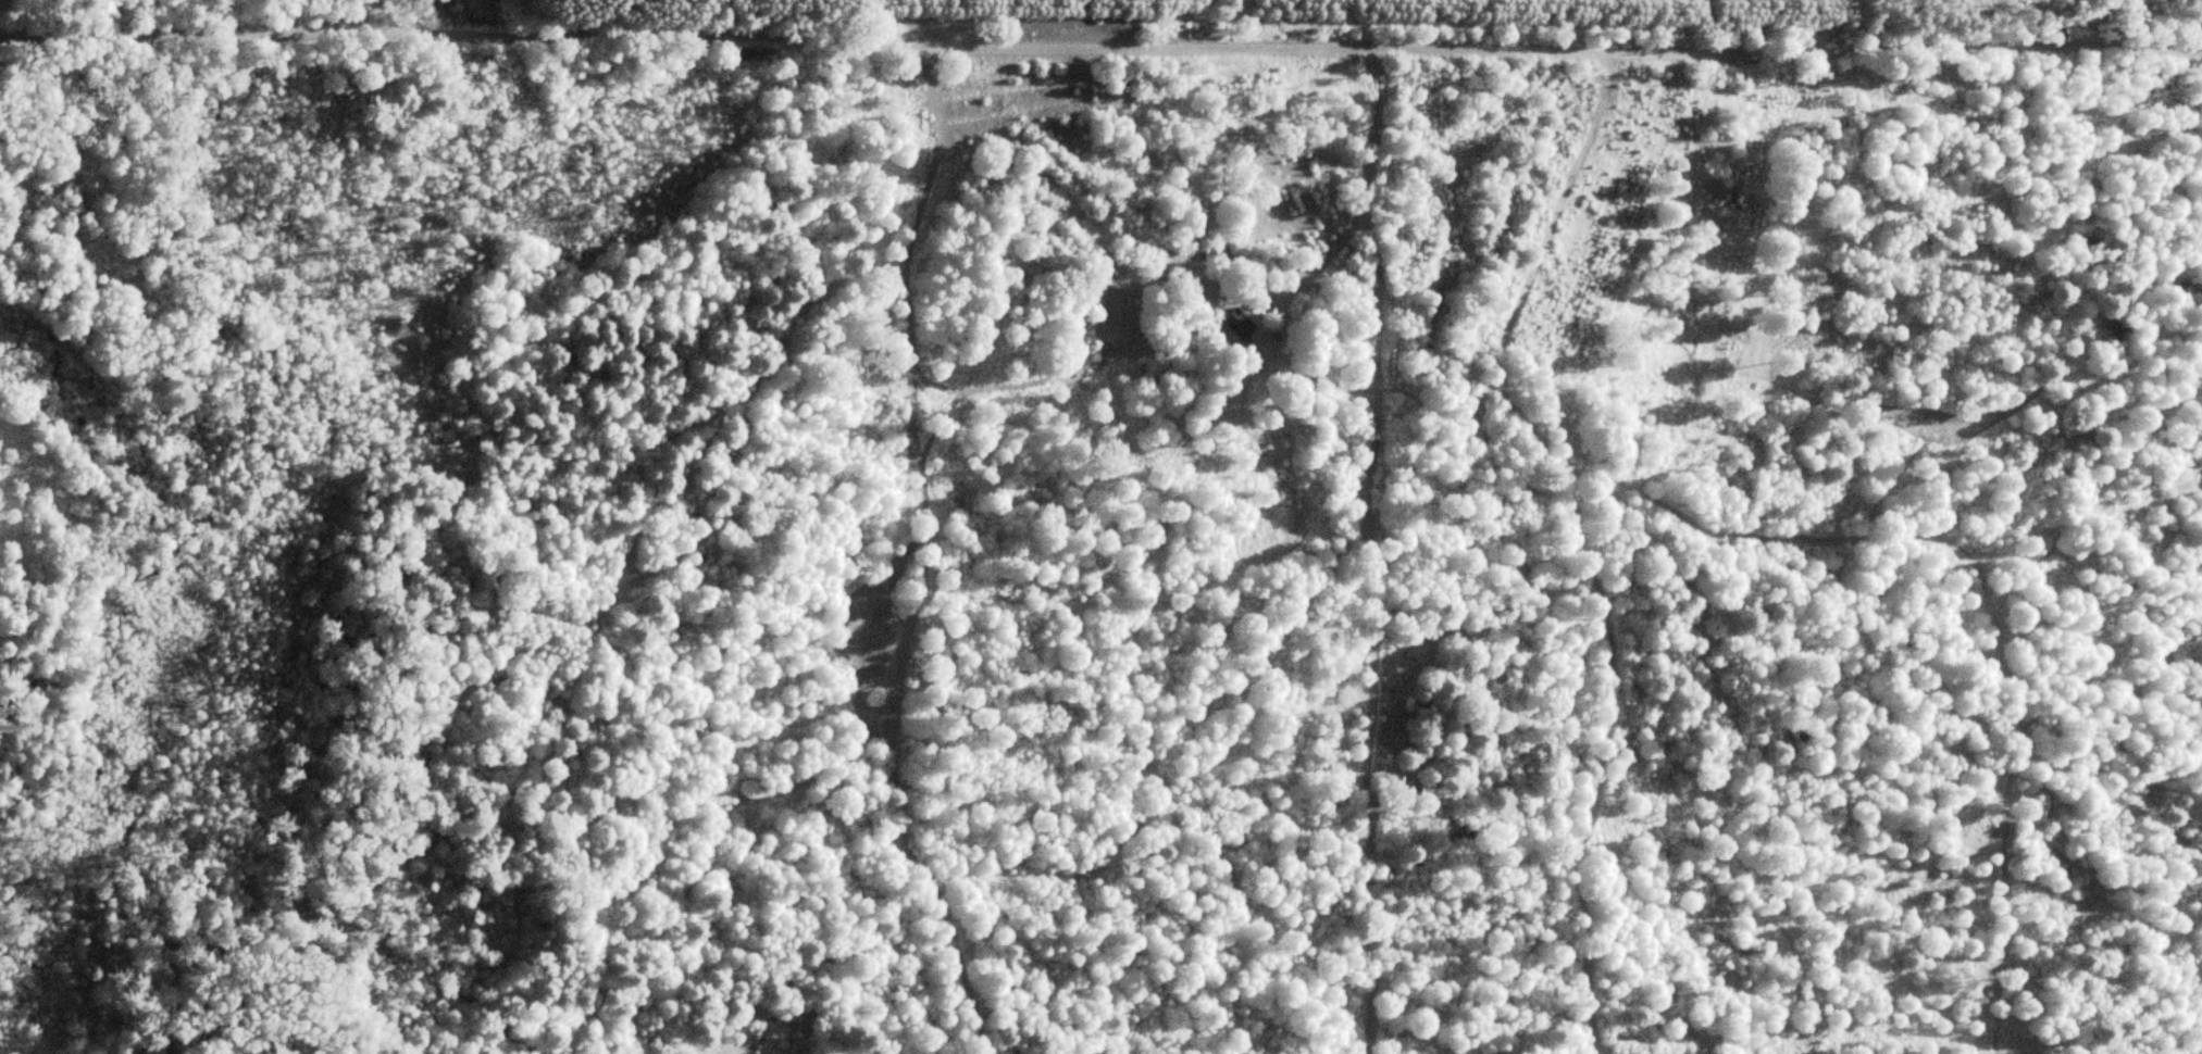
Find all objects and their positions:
road: (377, 13)
road: (1100, 50)
building: (1240, 324)

